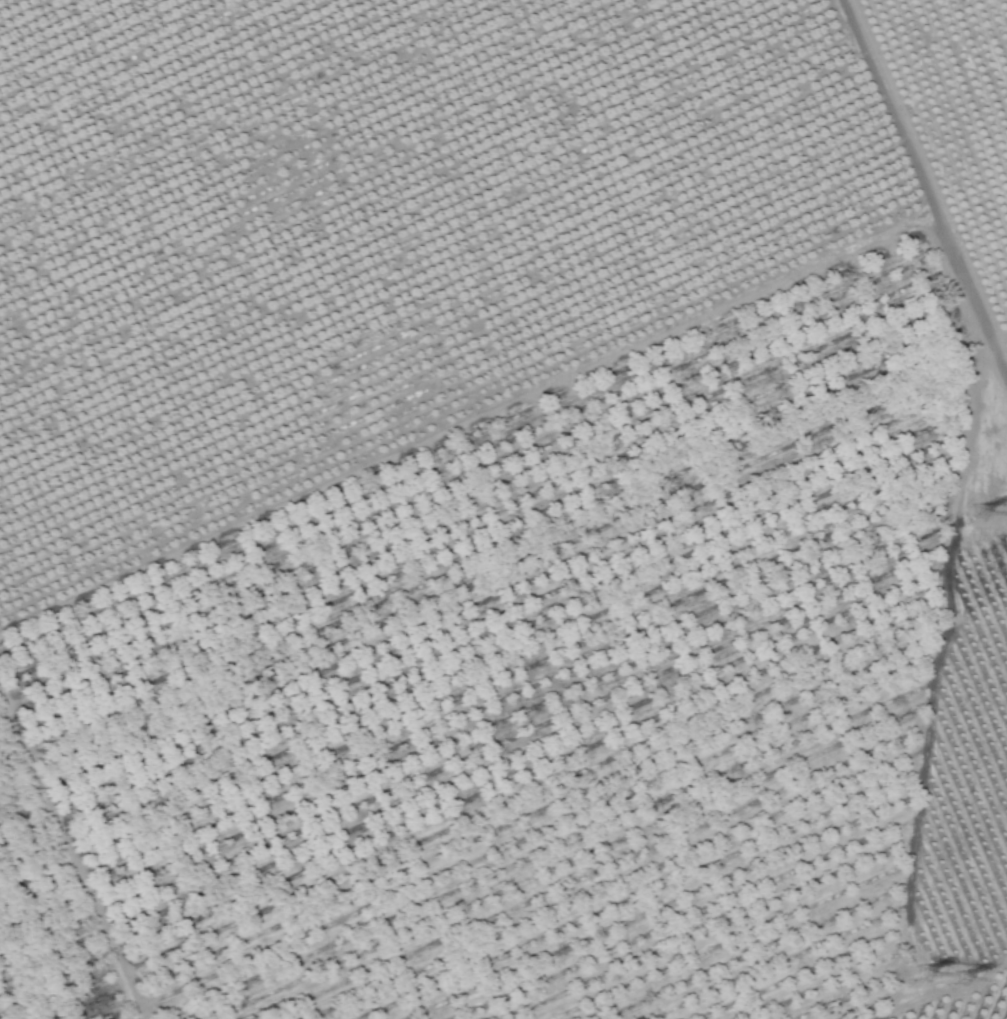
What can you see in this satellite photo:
road: (926, 186)
power tower: (976, 517)
power tower: (924, 976)
power tower: (960, 980)

